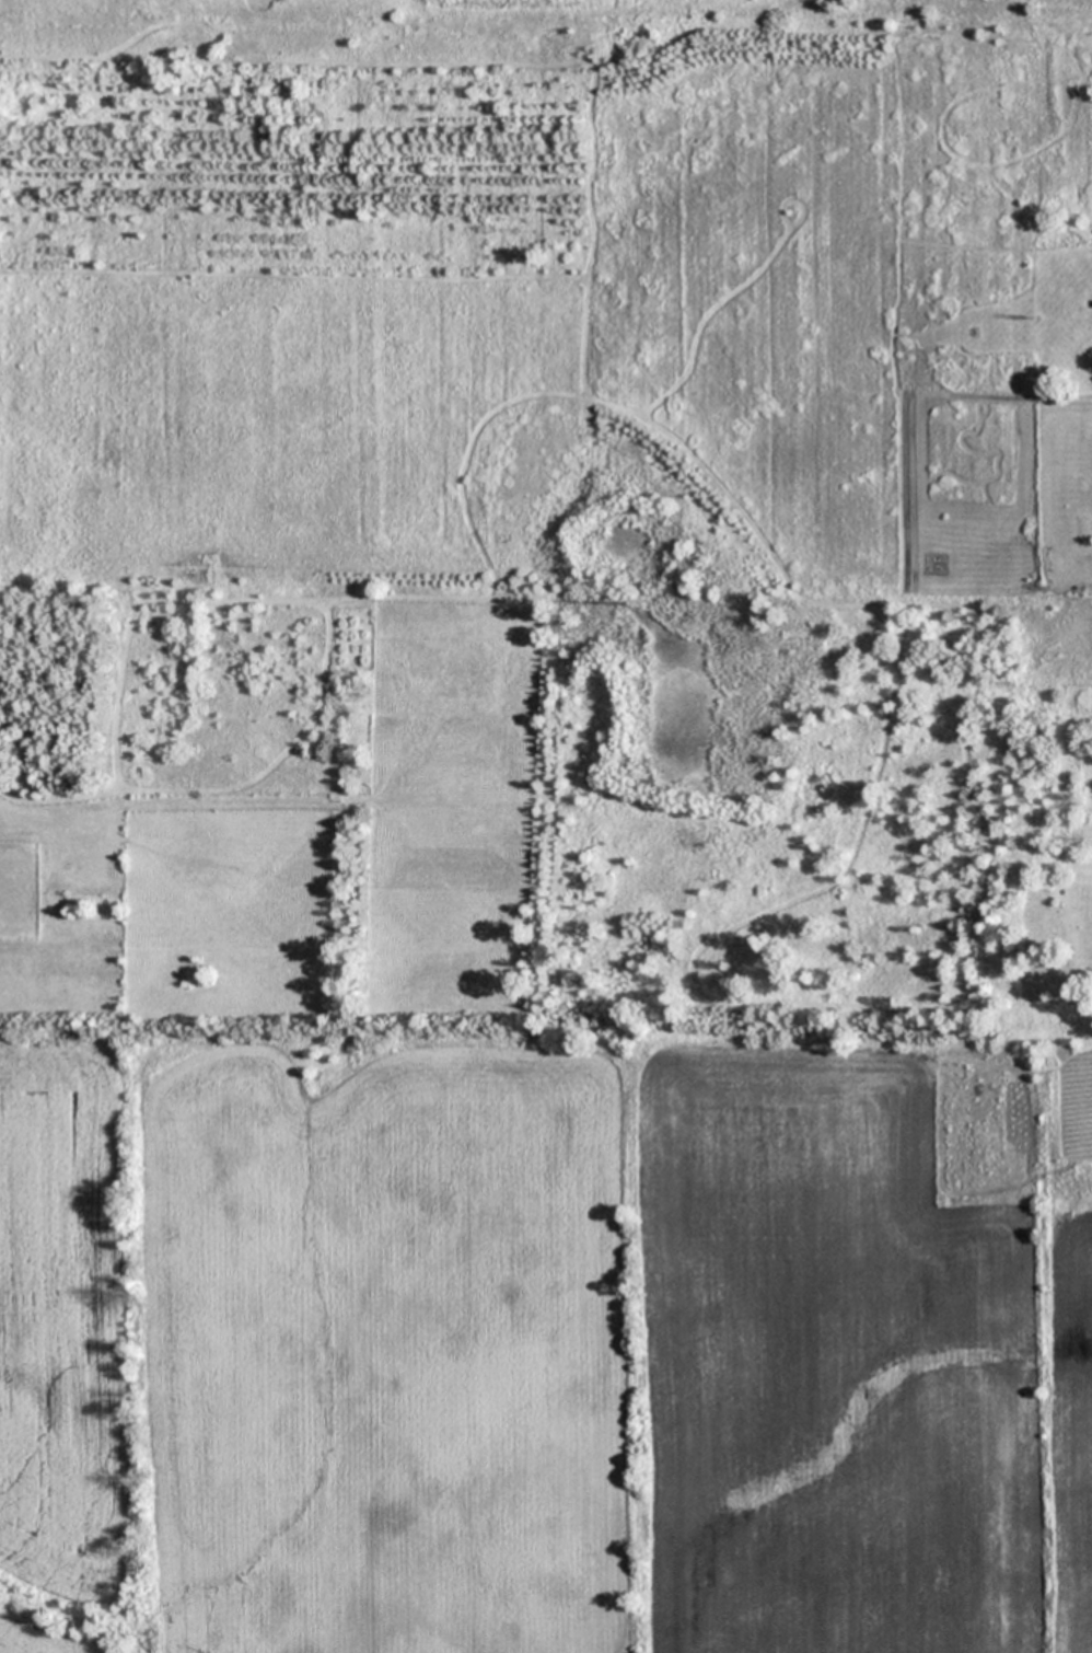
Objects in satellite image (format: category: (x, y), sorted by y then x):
crop: (544, 1345)

